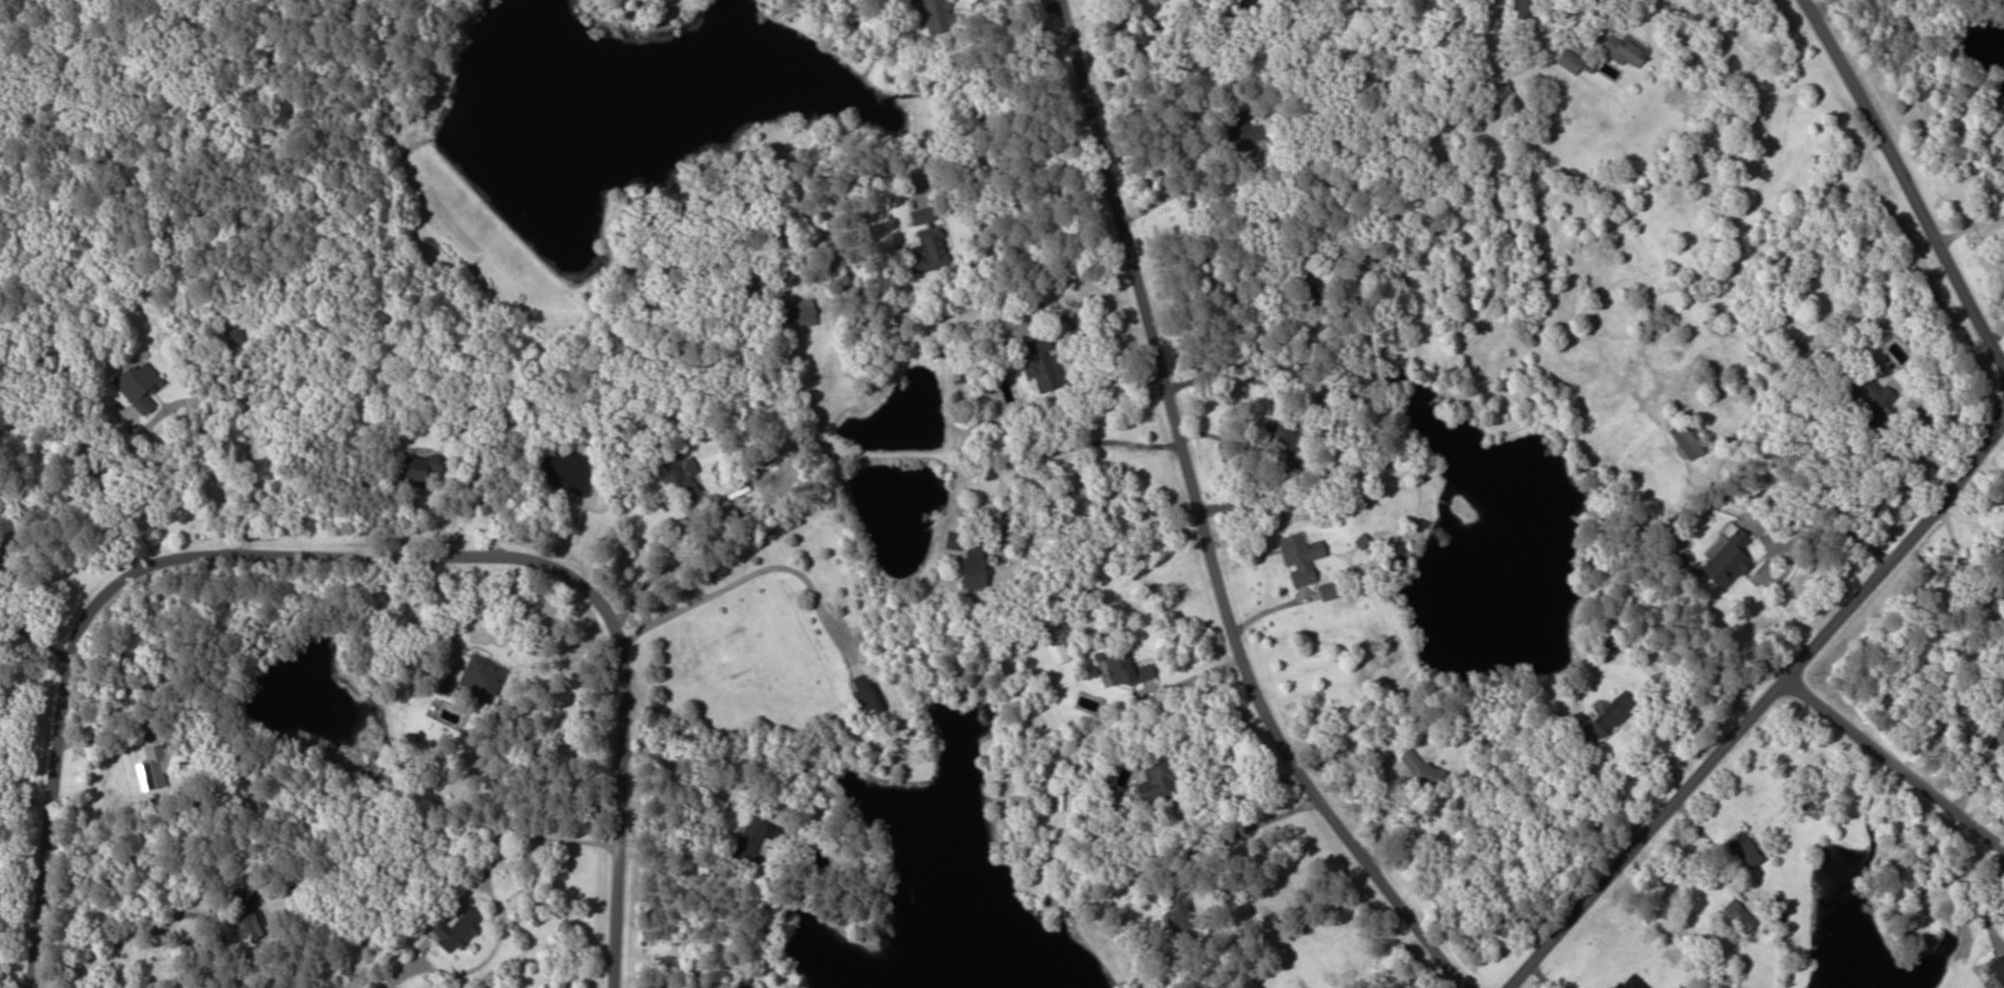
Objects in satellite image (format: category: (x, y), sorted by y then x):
building: (1239, 3)
building: (1518, 6)
building: (930, 14)
building: (1622, 50)
building: (1567, 61)
building: (1241, 130)
road: (1914, 189)
building: (926, 234)
building: (1304, 278)
building: (800, 313)
building: (233, 337)
building: (1038, 364)
building: (141, 386)
building: (1872, 400)
building: (1686, 438)
building: (1281, 440)
building: (417, 470)
building: (674, 472)
road: (1204, 520)
road: (328, 538)
building: (1298, 558)
building: (1725, 558)
building: (965, 561)
building: (1327, 590)
building: (1604, 640)
building: (1056, 652)
building: (1123, 670)
building: (480, 677)
building: (864, 694)
road: (1756, 701)
building: (1610, 714)
road: (1890, 757)
building: (150, 769)
building: (1422, 771)
building: (1154, 777)
road: (1238, 798)
road: (1381, 815)
road: (1258, 823)
building: (747, 841)
building: (1742, 850)
building: (245, 915)
building: (1176, 915)
building: (1738, 916)
building: (453, 929)
building: (1997, 970)
building: (743, 982)

